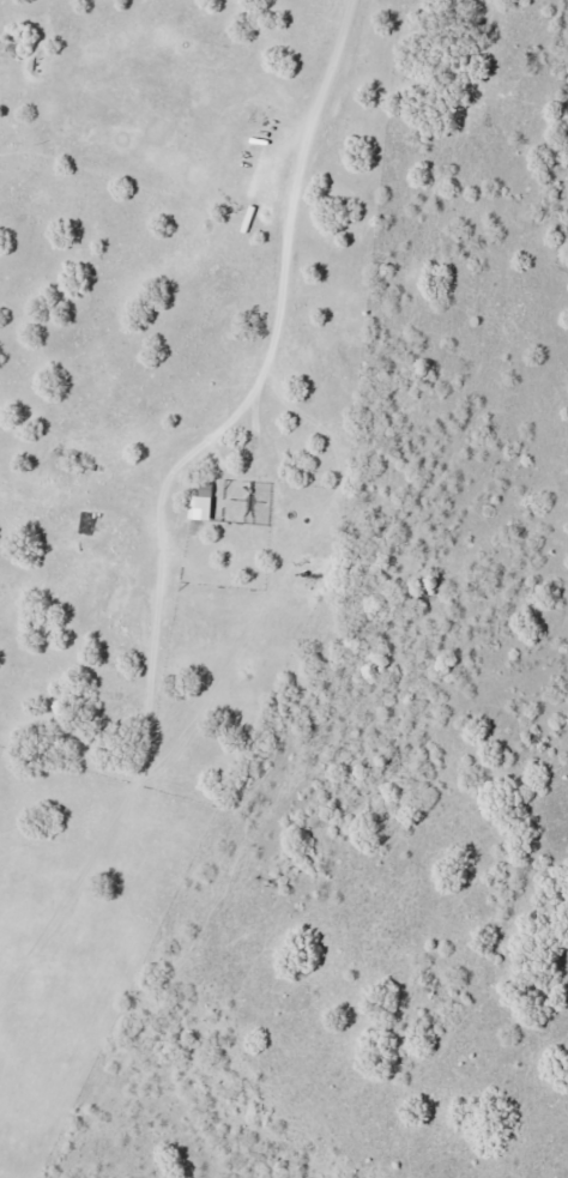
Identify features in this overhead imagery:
road: (286, 271)
building: (204, 502)

